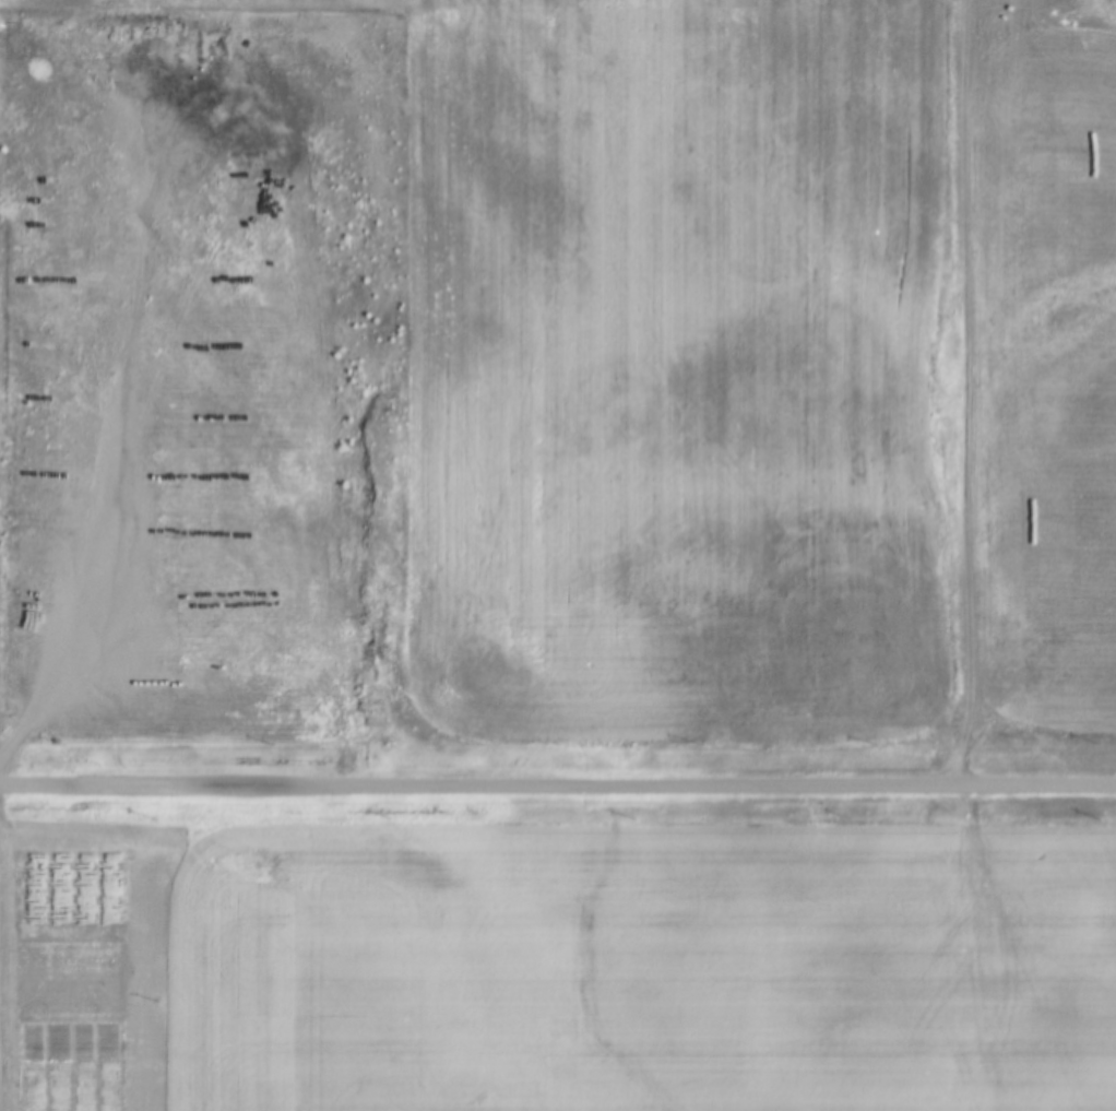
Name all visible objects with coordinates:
road: (558, 781)

